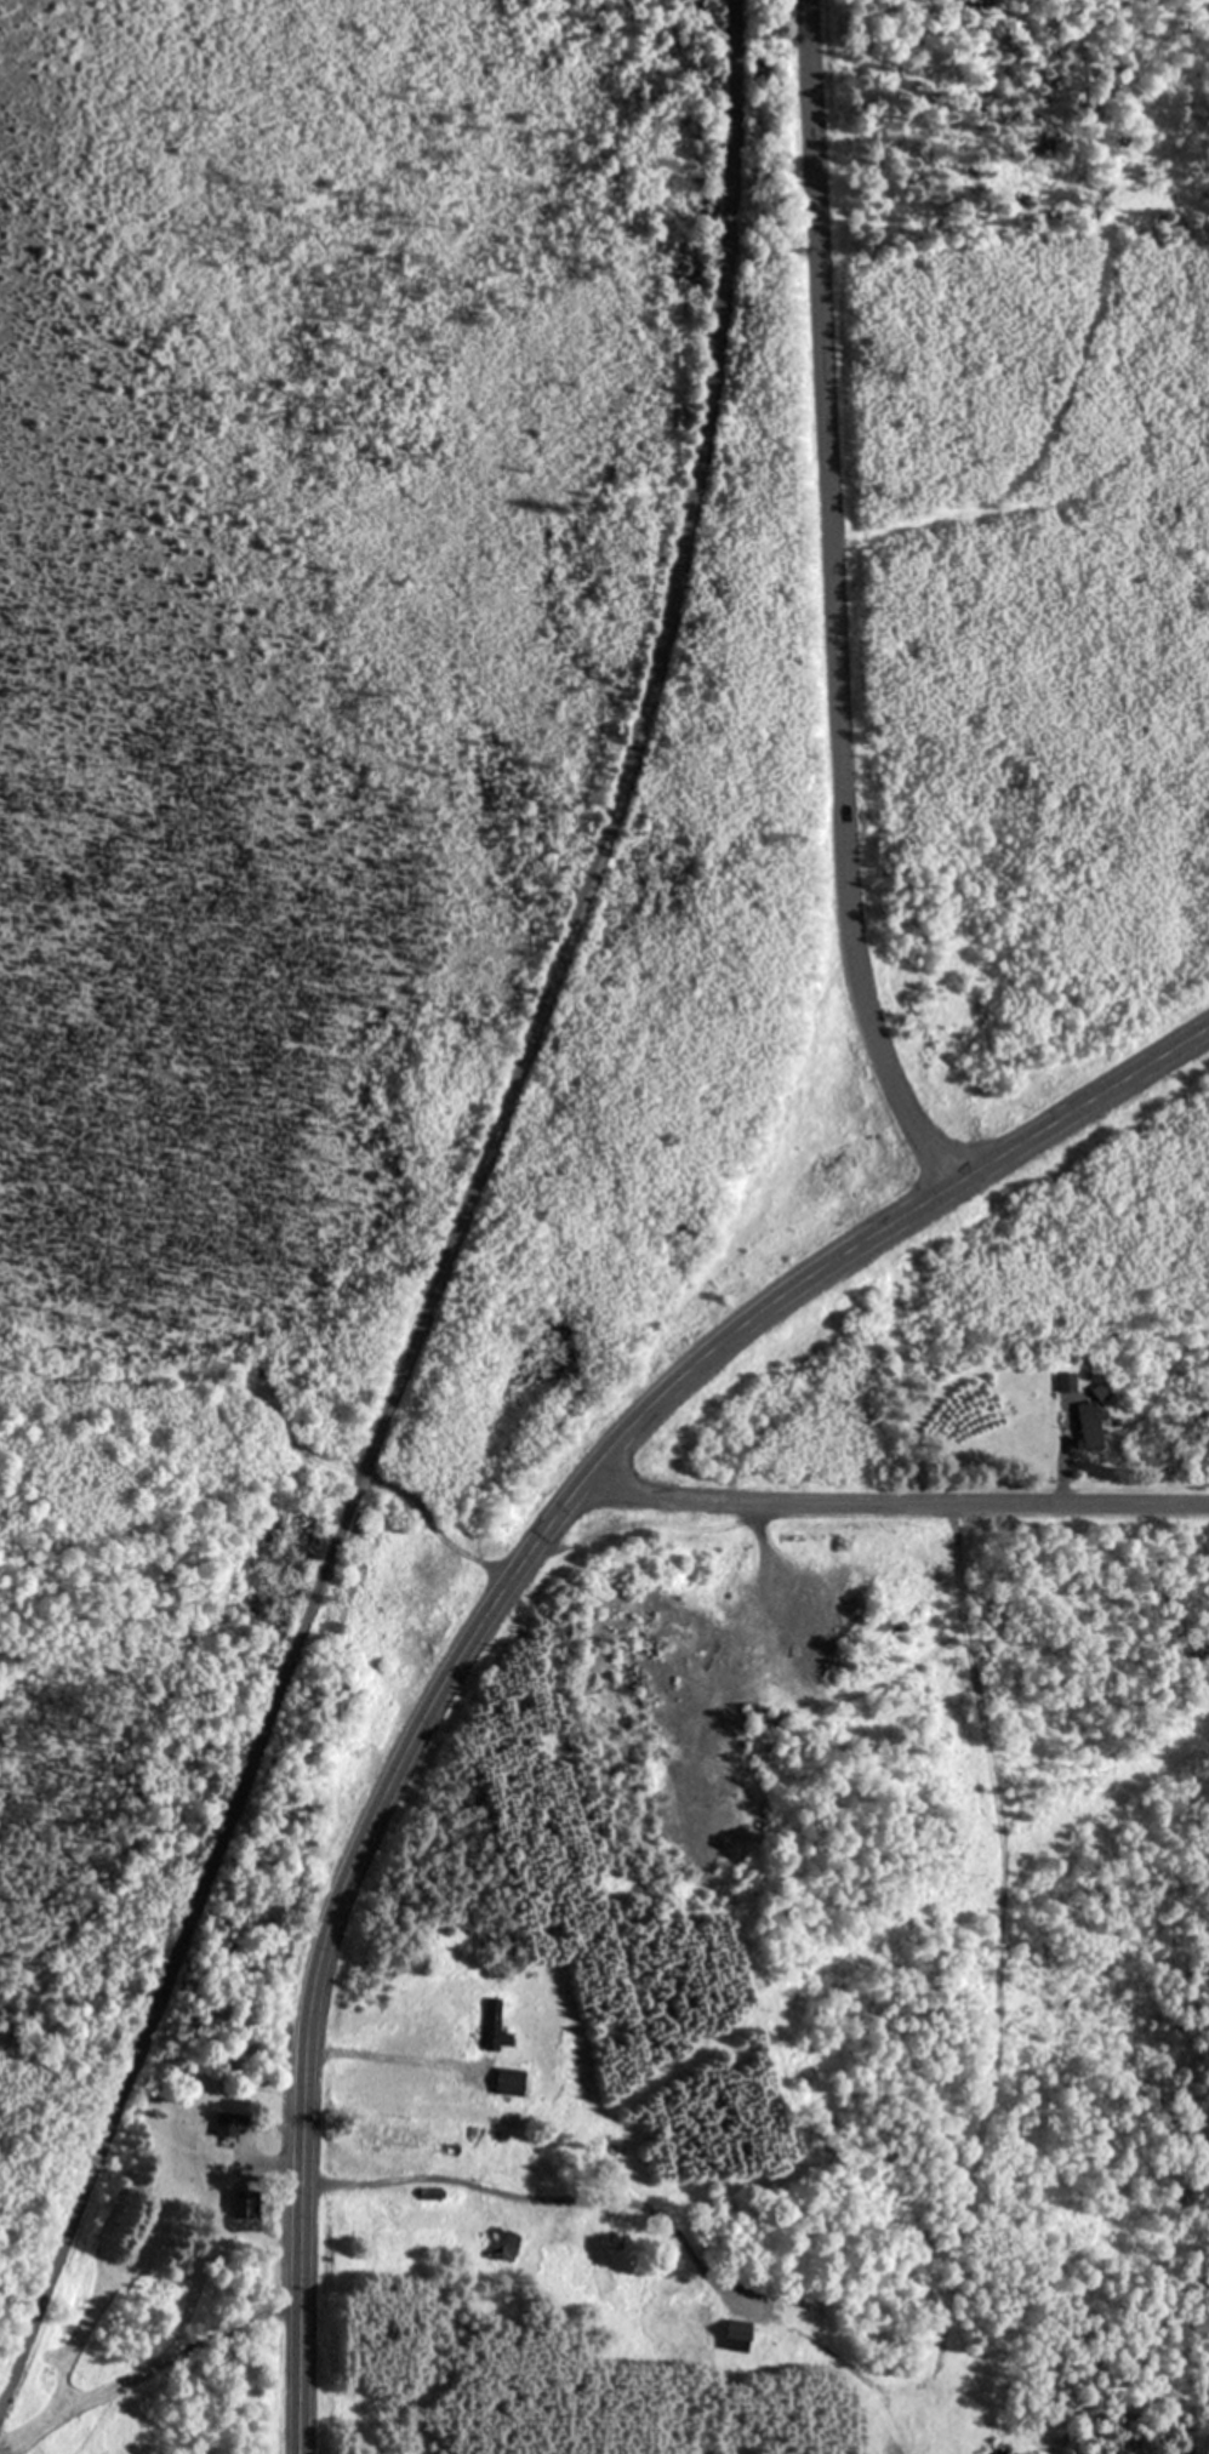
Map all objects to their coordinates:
road: (831, 601)
road: (626, 763)
road: (1079, 1101)
building: (1065, 1379)
road: (275, 1415)
road: (894, 1499)
road: (785, 1625)
road: (420, 1714)
quarry: (730, 1717)
road: (177, 1940)
building: (494, 2025)
road: (993, 2037)
road: (377, 2055)
building: (509, 2079)
building: (226, 2122)
road: (278, 2161)
road: (549, 2196)
building: (239, 2202)
building: (496, 2244)
building: (736, 2335)
road: (147, 2372)

